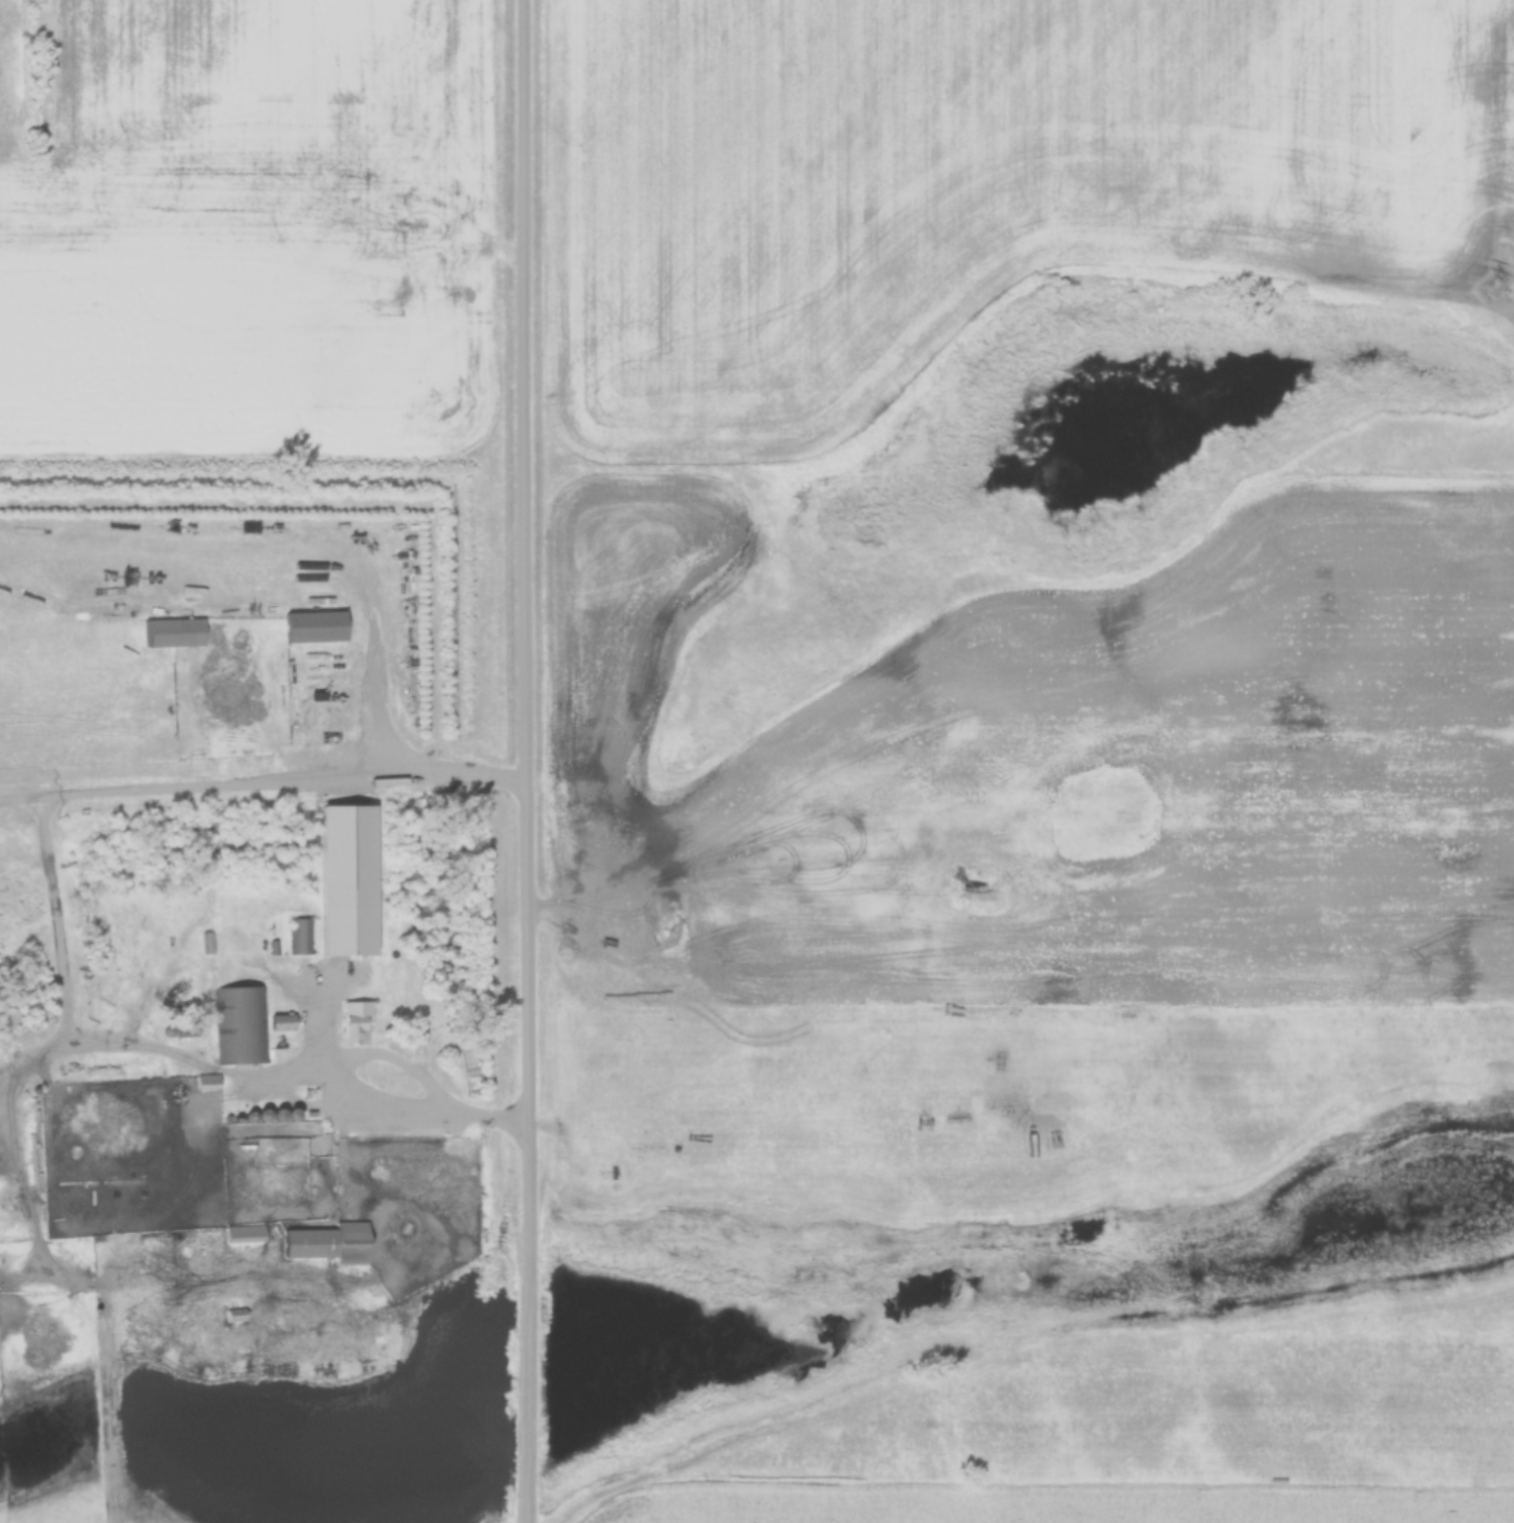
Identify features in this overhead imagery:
building: (315, 628)
building: (173, 634)
road: (530, 761)
road: (265, 785)
building: (299, 893)
road: (67, 918)
building: (301, 936)
building: (212, 944)
building: (275, 948)
building: (317, 950)
silo: (317, 950)
building: (353, 1021)
building: (283, 1022)
building: (245, 1025)
building: (189, 1028)
building: (170, 1031)
silo: (170, 1031)
building: (420, 1032)
building: (209, 1082)
building: (36, 1092)
silo: (36, 1092)
road: (300, 1098)
building: (277, 1115)
silo: (277, 1115)
building: (263, 1116)
silo: (263, 1116)
building: (290, 1116)
silo: (290, 1116)
building: (250, 1117)
silo: (250, 1117)
building: (292, 1152)
building: (67, 1186)
building: (245, 1235)
building: (327, 1244)
building: (60, 1255)
building: (235, 1316)

